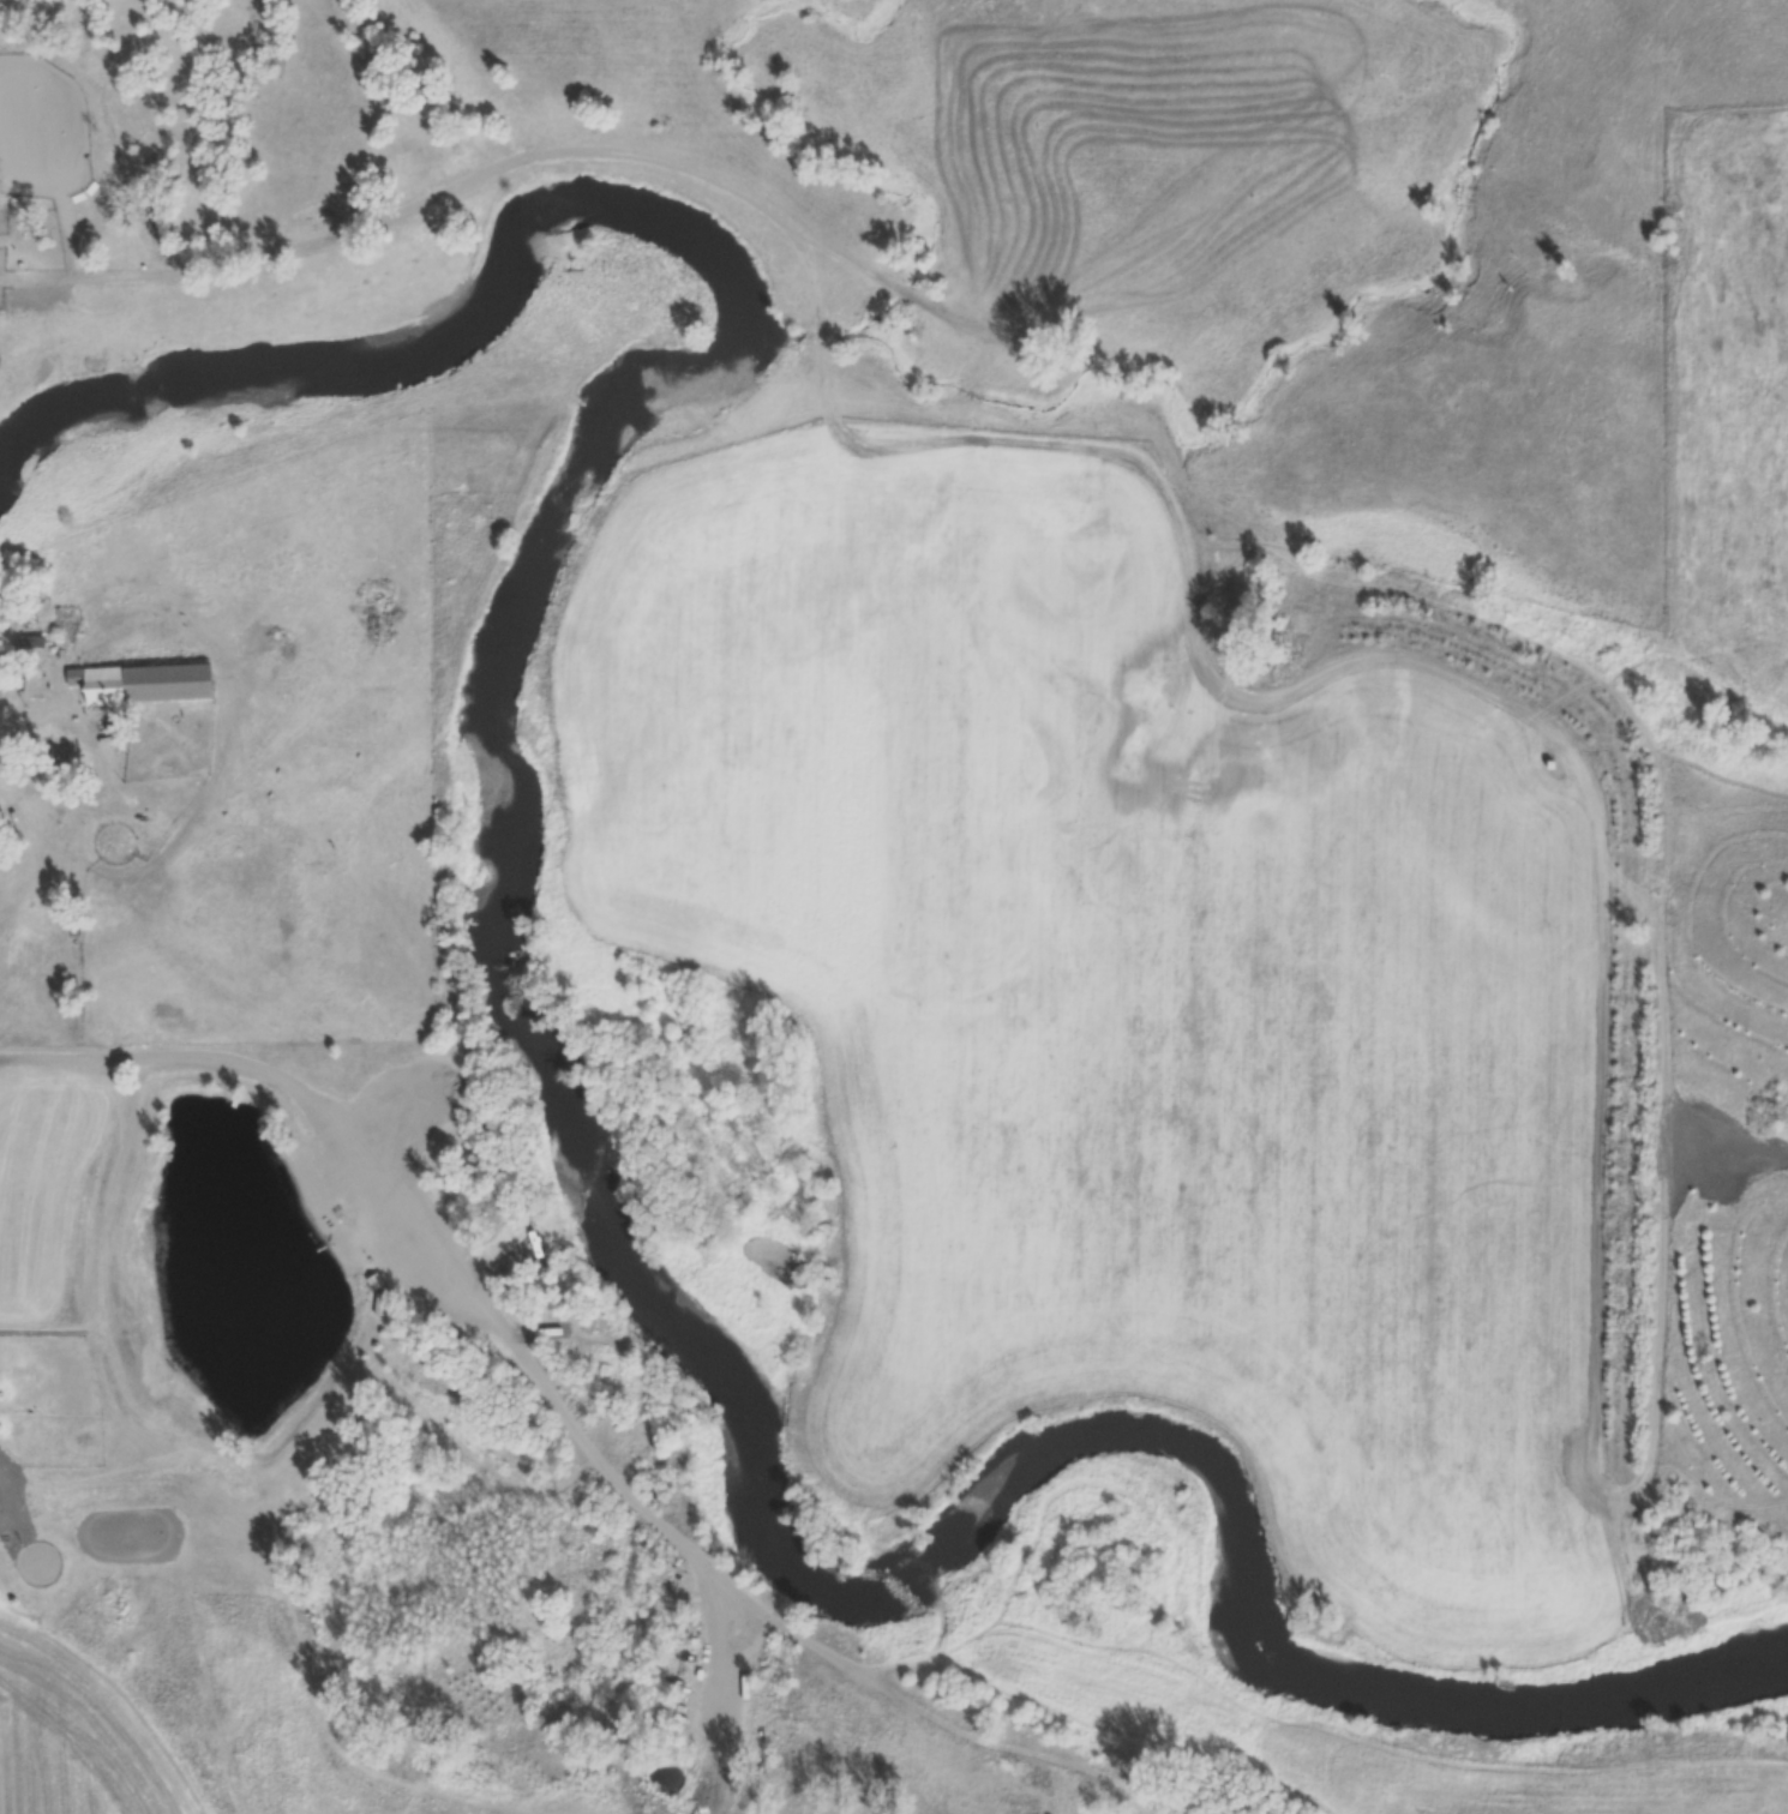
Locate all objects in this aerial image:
building: (35, 647)
building: (146, 684)
road: (20, 728)
river: (557, 1070)
road: (433, 1226)

